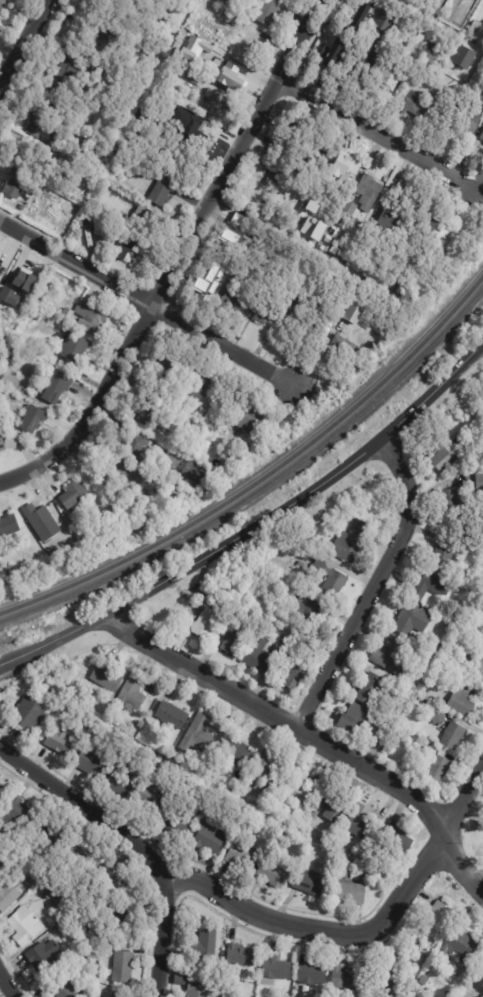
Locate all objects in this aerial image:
building: (223, 2)
building: (375, 3)
building: (3, 5)
building: (104, 11)
building: (270, 12)
building: (205, 14)
building: (454, 14)
building: (229, 15)
building: (356, 19)
building: (382, 20)
building: (477, 28)
building: (424, 37)
building: (243, 38)
road: (23, 41)
building: (89, 43)
building: (334, 46)
building: (193, 48)
building: (430, 51)
building: (462, 57)
building: (366, 64)
building: (73, 68)
building: (98, 70)
building: (480, 72)
building: (230, 74)
building: (192, 79)
building: (123, 84)
building: (388, 84)
building: (56, 99)
building: (102, 99)
building: (85, 101)
building: (413, 102)
building: (215, 103)
building: (440, 114)
building: (473, 119)
building: (40, 125)
building: (198, 127)
road: (380, 138)
building: (482, 138)
building: (129, 140)
building: (284, 142)
building: (55, 146)
building: (315, 156)
building: (28, 157)
road: (465, 158)
building: (369, 164)
building: (342, 174)
building: (16, 184)
building: (369, 192)
building: (163, 193)
building: (245, 194)
building: (27, 205)
building: (263, 207)
building: (349, 215)
building: (387, 221)
building: (147, 223)
building: (429, 225)
building: (373, 231)
building: (102, 233)
building: (244, 235)
building: (450, 237)
building: (328, 239)
building: (239, 244)
building: (122, 248)
building: (335, 250)
road: (182, 260)
building: (225, 261)
building: (24, 280)
building: (395, 281)
building: (228, 283)
building: (208, 284)
building: (402, 289)
building: (9, 297)
building: (18, 297)
building: (51, 303)
building: (232, 303)
road: (149, 305)
building: (262, 311)
building: (292, 312)
building: (356, 312)
building: (35, 315)
building: (67, 316)
building: (92, 322)
building: (317, 334)
building: (4, 335)
building: (73, 347)
building: (372, 349)
building: (354, 350)
building: (13, 353)
building: (166, 377)
building: (198, 384)
building: (482, 386)
building: (56, 387)
building: (33, 420)
building: (250, 421)
building: (164, 423)
building: (193, 433)
building: (8, 445)
building: (136, 449)
building: (247, 451)
building: (444, 453)
building: (228, 462)
building: (116, 470)
building: (196, 473)
railway: (264, 477)
building: (475, 481)
railway: (263, 490)
building: (74, 497)
building: (450, 500)
building: (40, 521)
road: (257, 525)
building: (9, 527)
building: (67, 539)
building: (351, 541)
building: (446, 551)
building: (300, 565)
building: (10, 572)
building: (332, 579)
building: (1, 580)
building: (430, 586)
road: (373, 587)
building: (238, 588)
building: (248, 596)
building: (224, 604)
building: (308, 605)
building: (408, 619)
building: (454, 620)
building: (207, 623)
building: (232, 638)
building: (279, 651)
building: (258, 655)
building: (391, 656)
building: (479, 662)
building: (296, 676)
building: (107, 677)
building: (455, 679)
building: (482, 679)
building: (372, 689)
building: (131, 692)
building: (463, 700)
building: (433, 711)
building: (28, 712)
building: (172, 715)
building: (361, 720)
building: (450, 731)
building: (198, 735)
road: (311, 739)
building: (60, 741)
building: (238, 752)
building: (92, 761)
building: (435, 764)
building: (266, 767)
building: (120, 782)
building: (297, 785)
building: (316, 787)
building: (2, 794)
building: (261, 795)
building: (152, 797)
building: (332, 806)
road: (86, 809)
building: (18, 813)
building: (180, 822)
building: (361, 822)
building: (53, 830)
building: (214, 833)
building: (396, 838)
building: (328, 841)
building: (82, 847)
building: (242, 856)
building: (369, 858)
building: (272, 874)
building: (108, 877)
building: (365, 878)
building: (32, 881)
building: (308, 883)
building: (49, 892)
building: (351, 892)
building: (7, 893)
building: (58, 902)
building: (123, 915)
building: (439, 918)
building: (25, 925)
building: (69, 929)
road: (162, 935)
road: (368, 936)
building: (206, 942)
building: (459, 945)
building: (240, 955)
building: (44, 956)
building: (121, 964)
building: (480, 964)
building: (276, 967)
building: (312, 973)
building: (347, 977)
building: (386, 980)
building: (92, 984)
road: (7, 985)
building: (66, 986)
building: (199, 987)
building: (238, 990)

